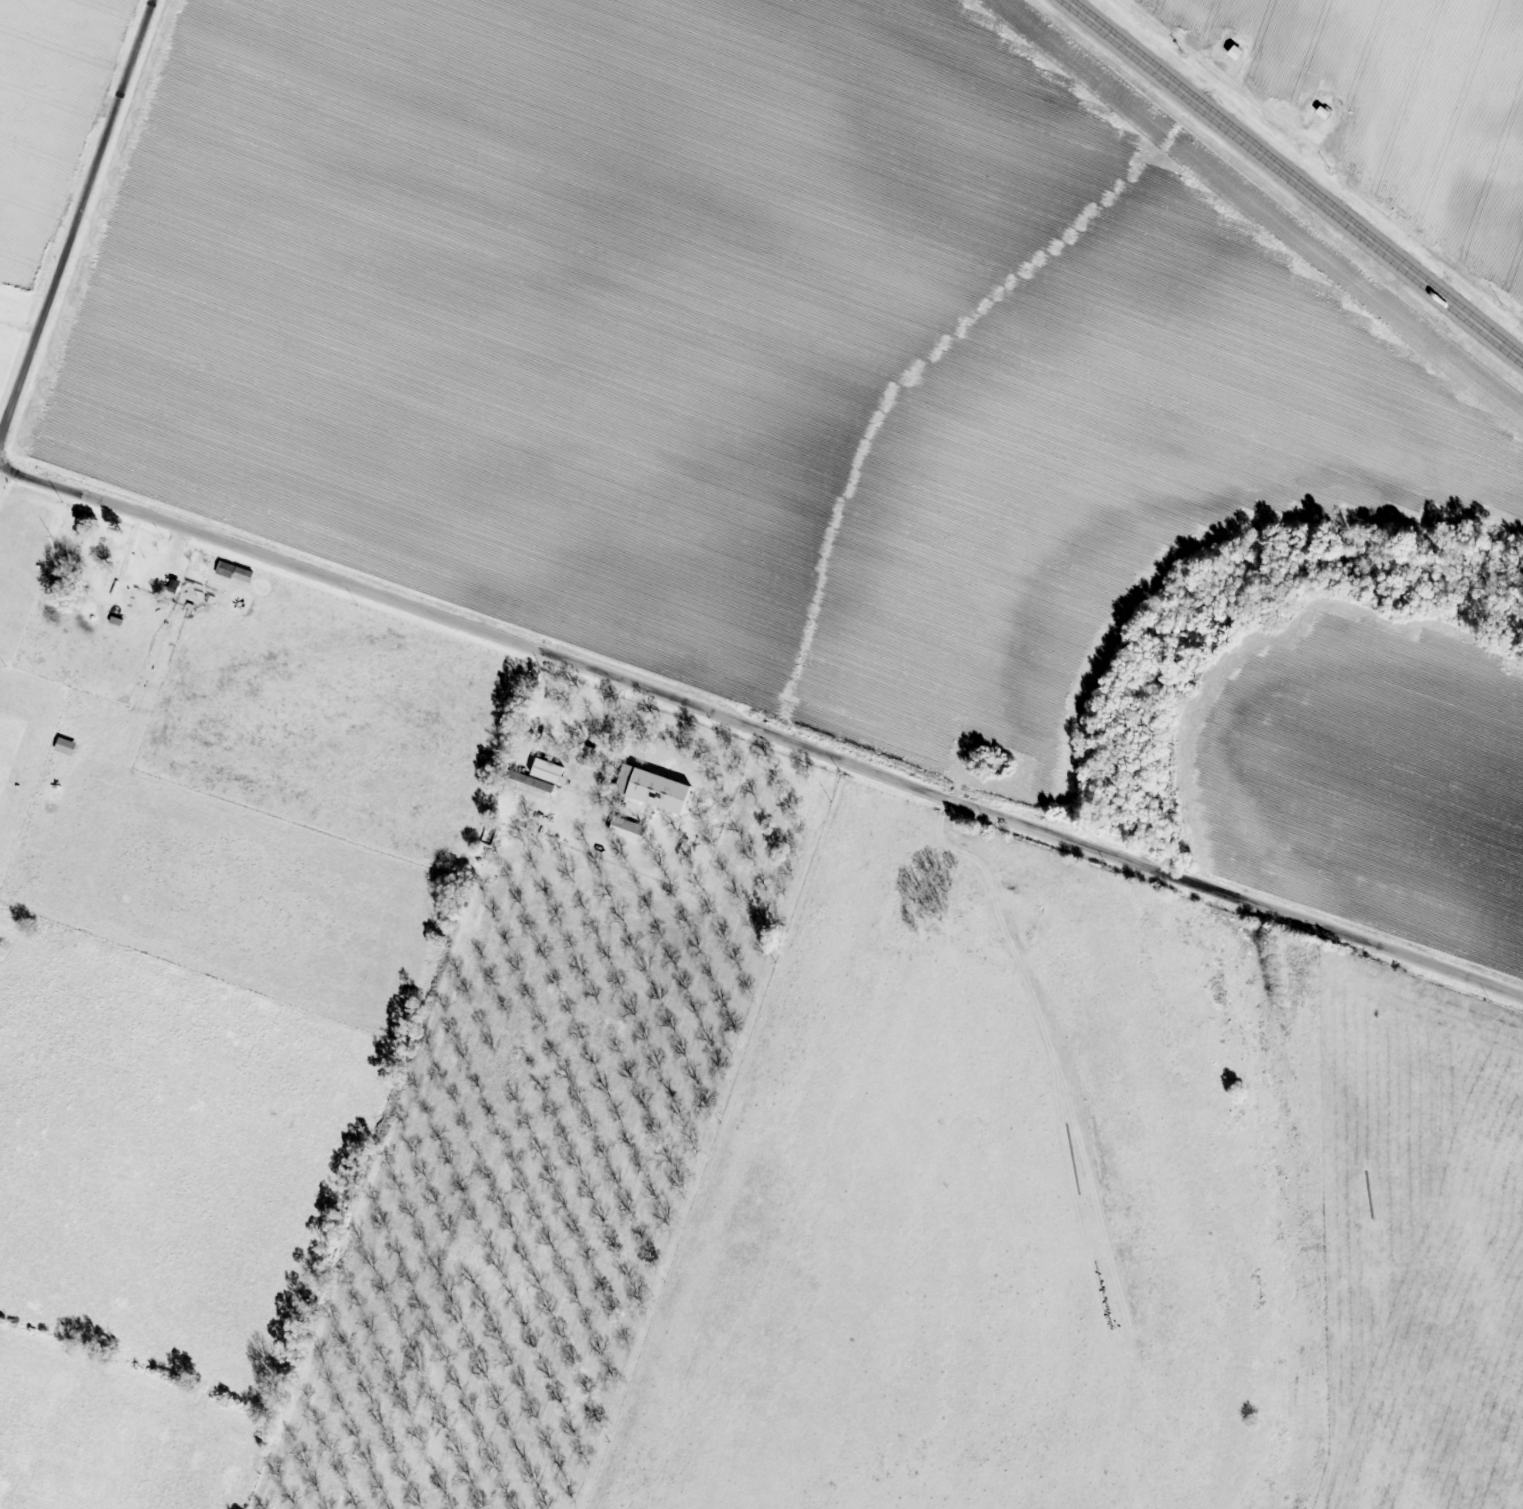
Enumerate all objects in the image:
building: (1236, 52)
road: (1295, 179)
railway: (1272, 199)
road: (74, 220)
road: (4, 481)
building: (236, 572)
road: (763, 724)
road: (607, 728)
building: (67, 746)
building: (550, 772)
building: (531, 785)
building: (655, 790)
building: (630, 829)

